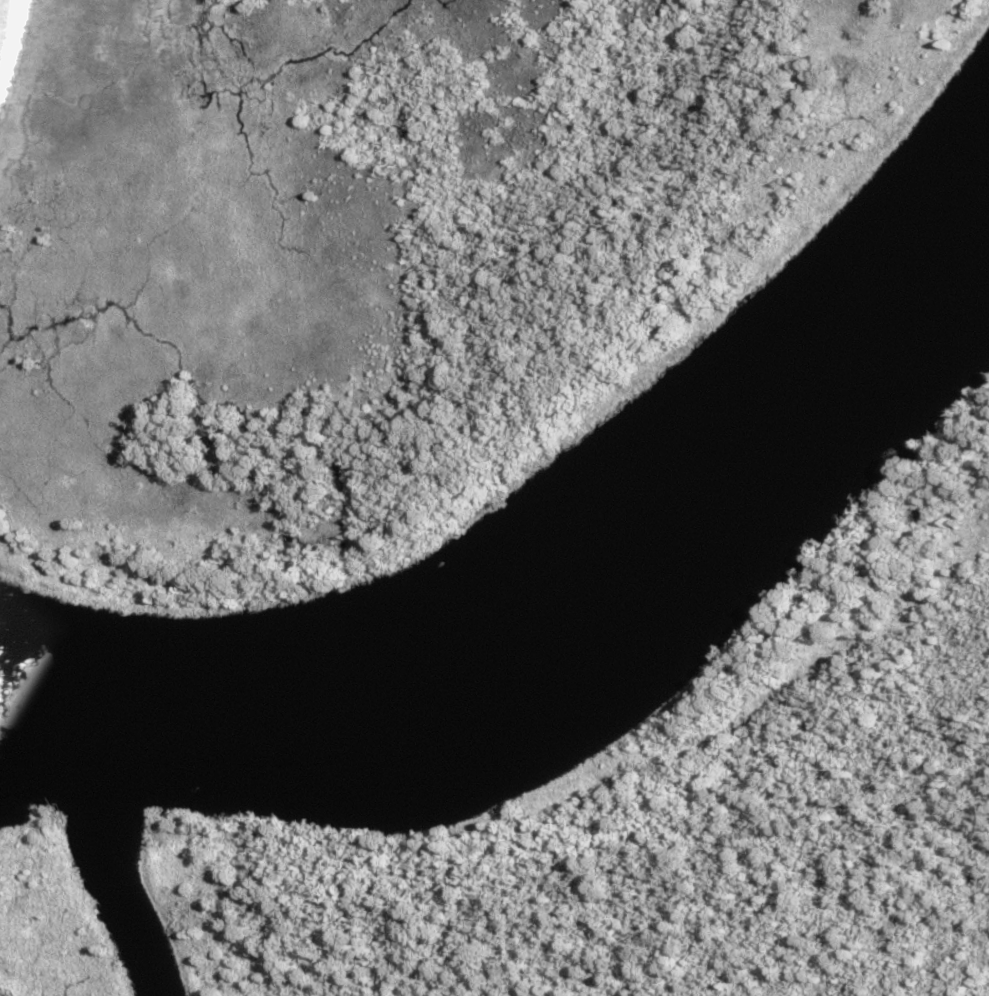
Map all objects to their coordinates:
river: (565, 604)
river: (111, 862)

